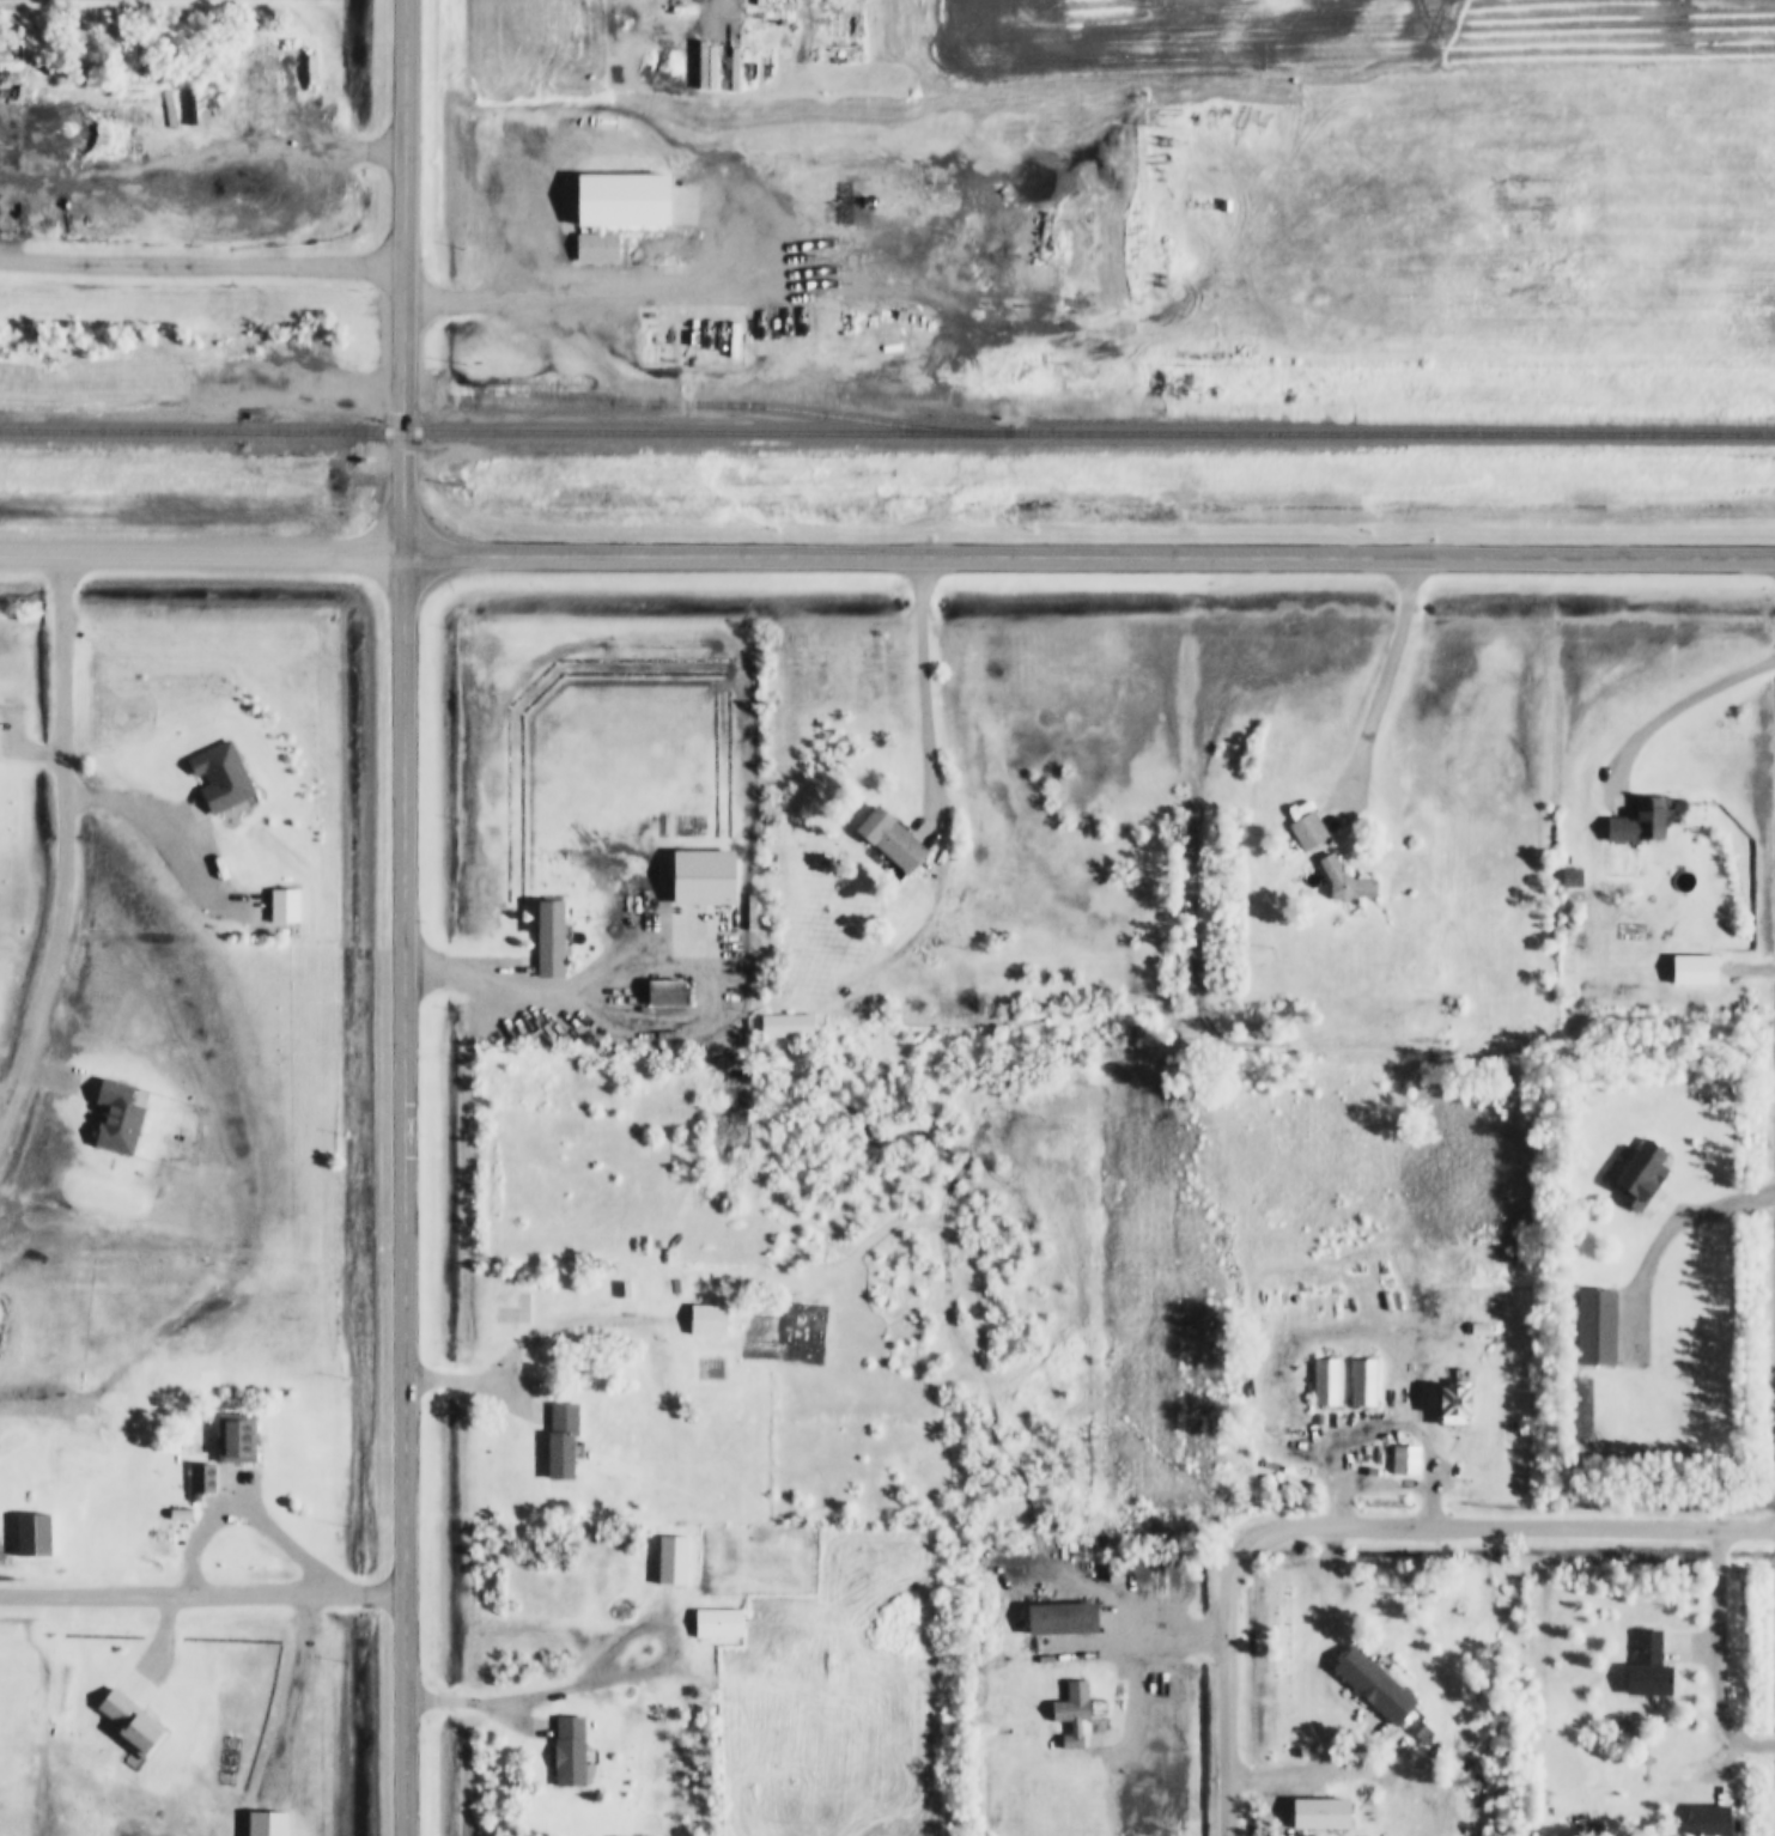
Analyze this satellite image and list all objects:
crop: (1457, 163)
building: (614, 208)
road: (201, 261)
road: (519, 302)
building: (693, 336)
railway: (733, 406)
railway: (887, 434)
road: (1087, 552)
road: (200, 554)
road: (1397, 675)
road: (930, 685)
road: (1685, 709)
building: (221, 778)
building: (1641, 822)
building: (1315, 828)
building: (893, 840)
road: (69, 853)
building: (704, 877)
building: (1347, 884)
building: (285, 906)
road: (414, 917)
building: (551, 940)
building: (667, 997)
building: (788, 1027)
building: (120, 1118)
building: (1643, 1177)
building: (516, 1309)
building: (707, 1321)
building: (1597, 1330)
building: (1327, 1384)
building: (1364, 1384)
building: (1457, 1405)
building: (236, 1439)
building: (563, 1442)
building: (1406, 1461)
building: (200, 1479)
road: (1361, 1518)
building: (34, 1536)
building: (673, 1562)
road: (203, 1594)
building: (1063, 1621)
building: (718, 1624)
road: (1725, 1646)
building: (1649, 1670)
building: (1375, 1688)
building: (1075, 1716)
building: (132, 1725)
building: (570, 1753)
road: (1320, 1768)
building: (1323, 1816)
building: (267, 1824)

